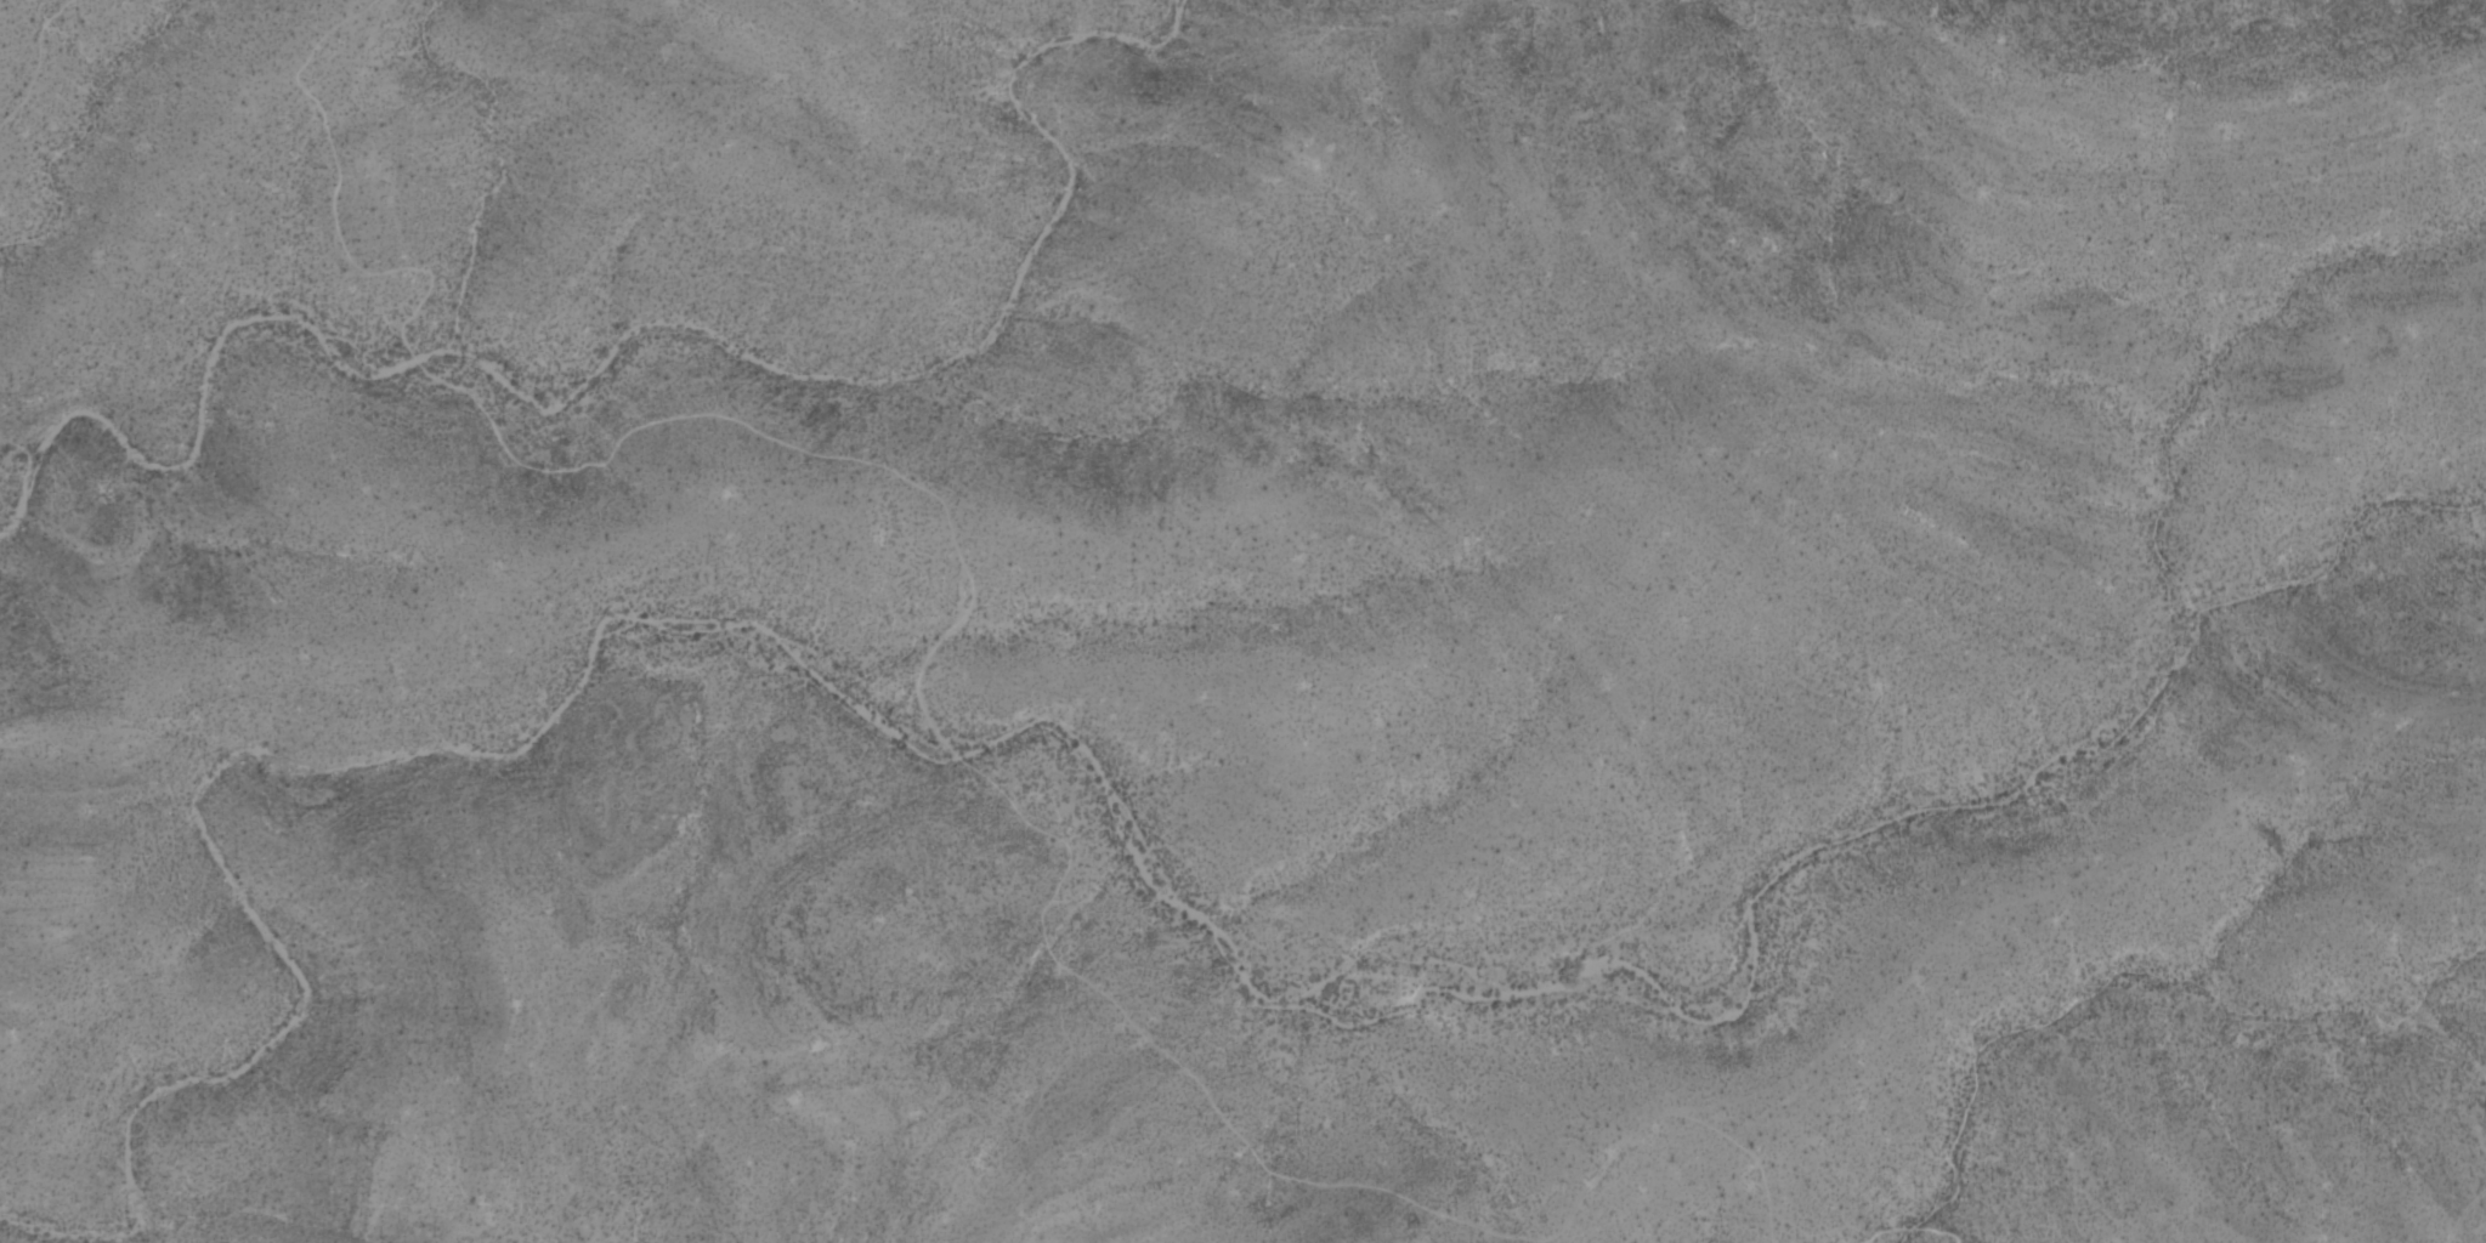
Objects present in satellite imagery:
road: (47, 61)
road: (929, 671)
road: (1908, 1235)

